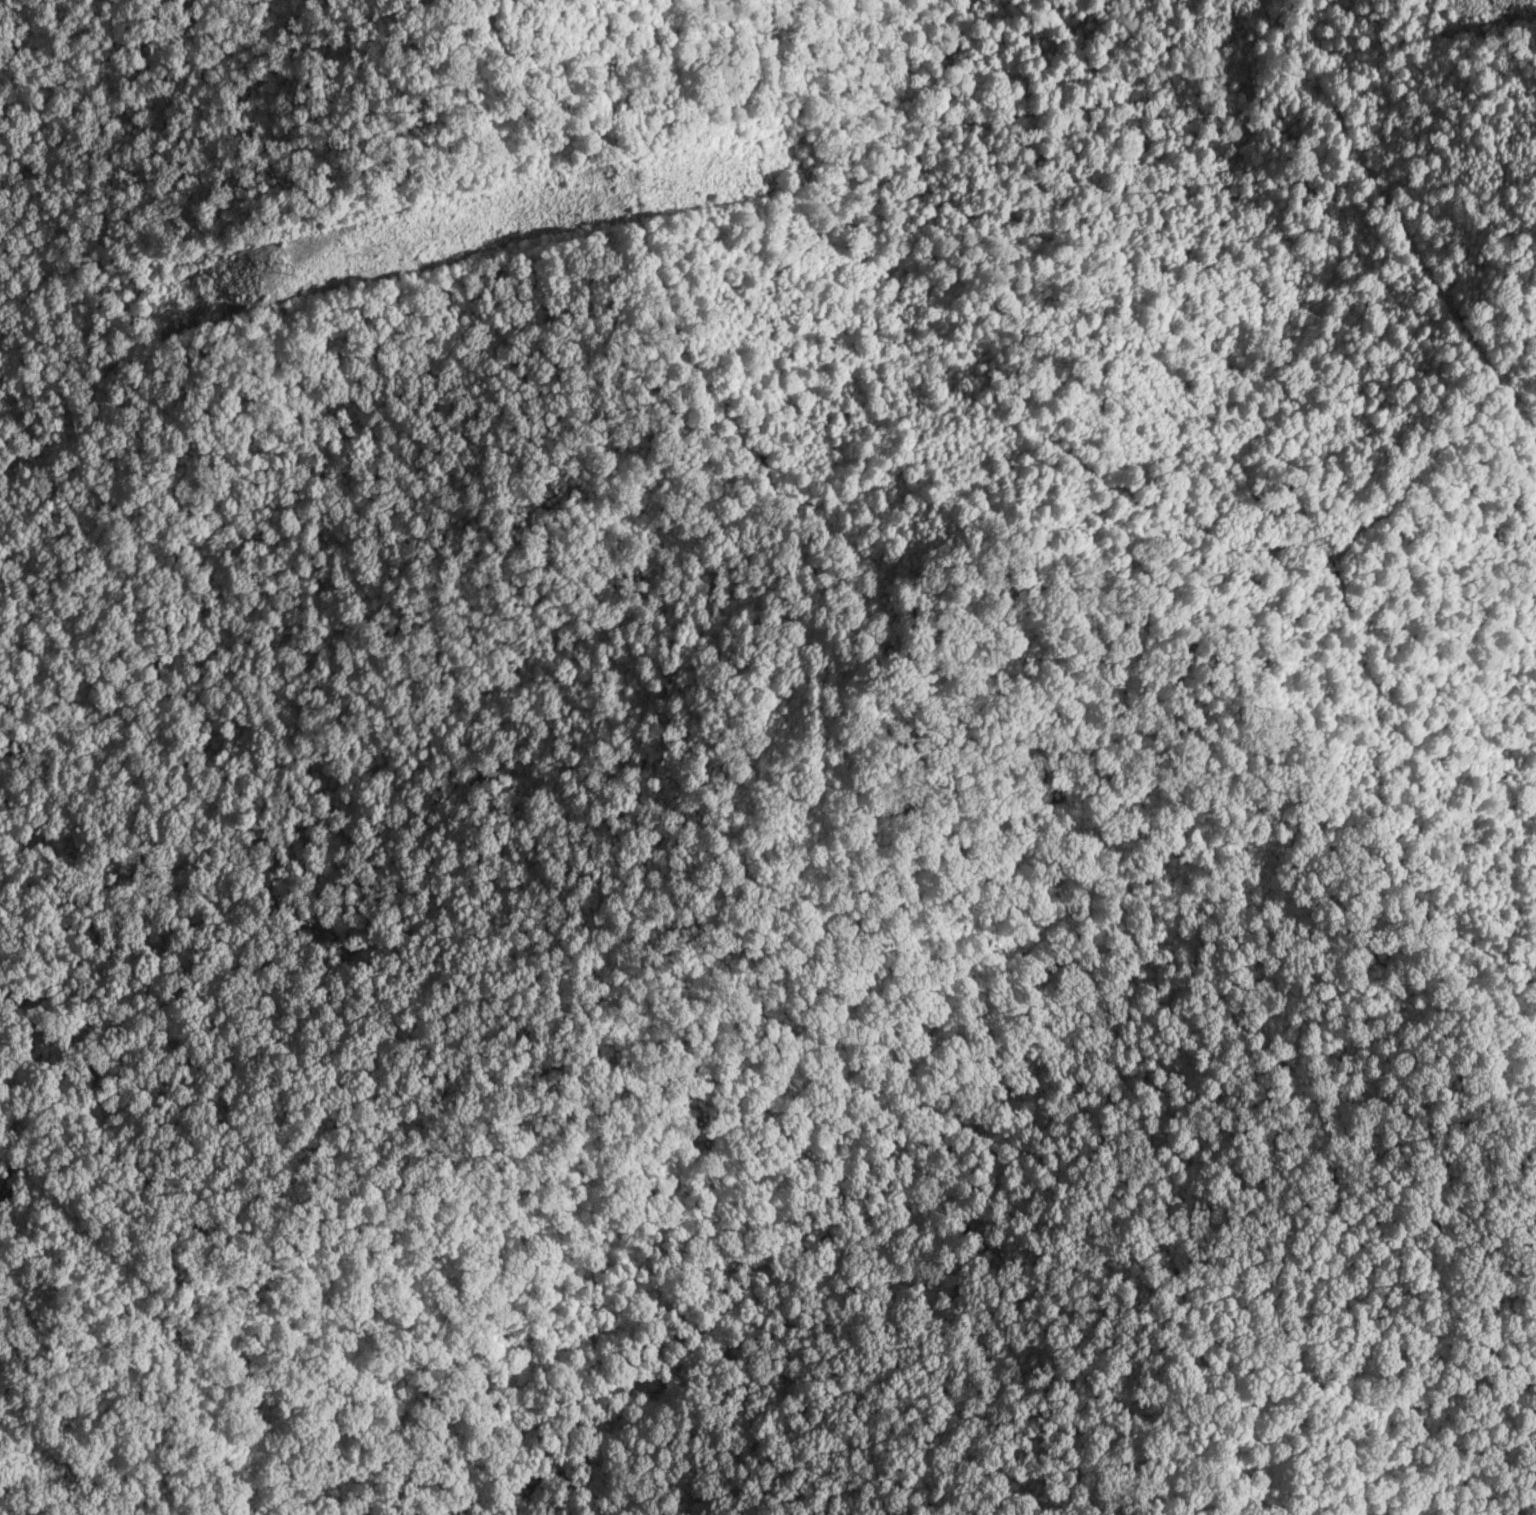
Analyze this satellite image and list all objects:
power tower: (646, 186)

